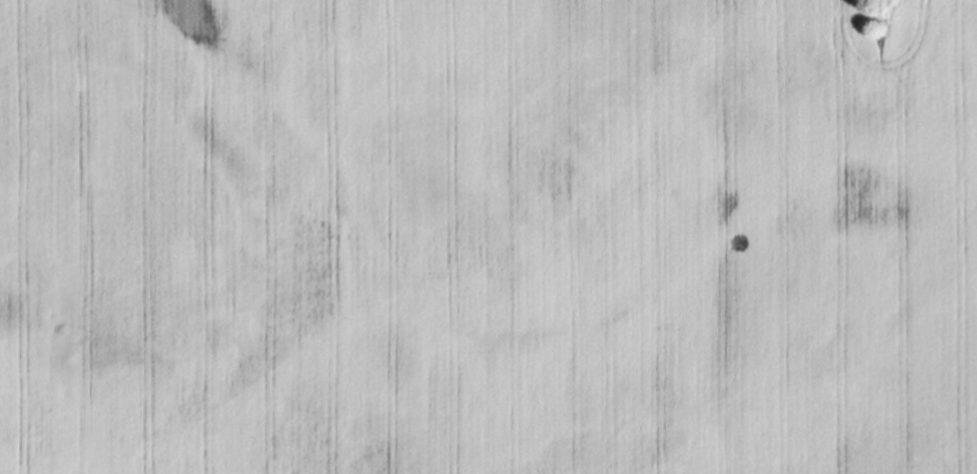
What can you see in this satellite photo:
crop: (488, 237)

